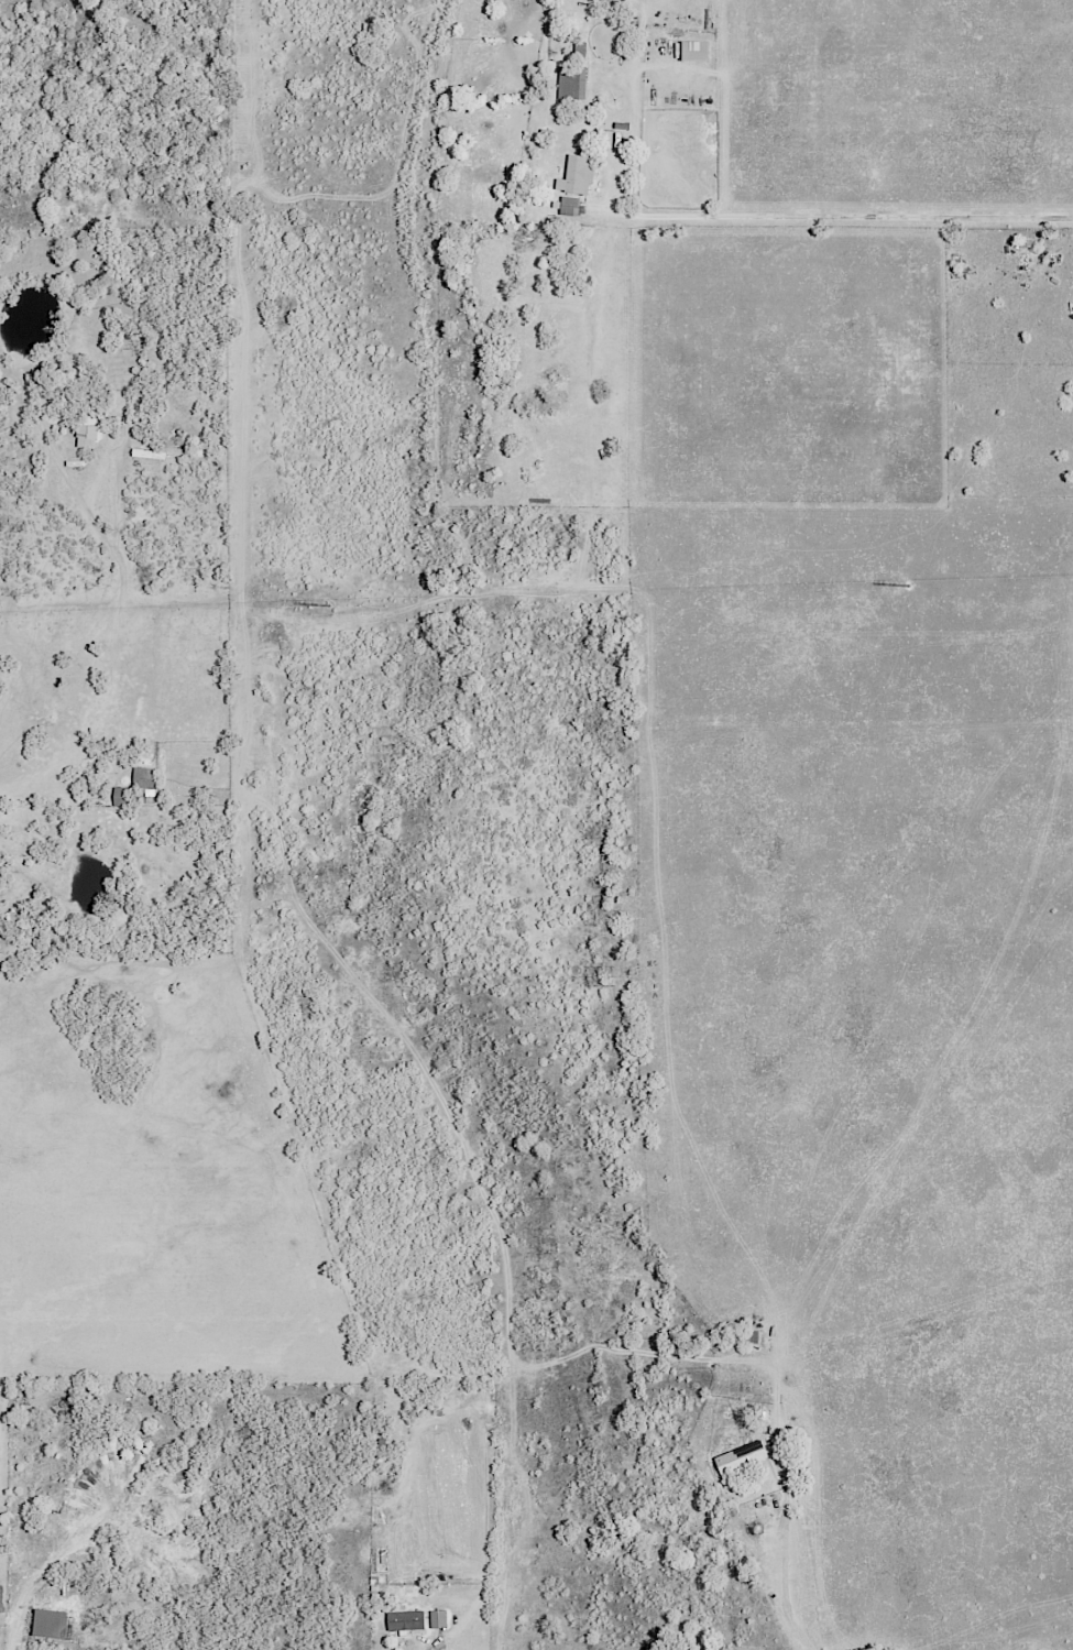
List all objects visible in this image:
road: (942, 43)
building: (692, 51)
building: (570, 81)
building: (574, 176)
building: (568, 206)
road: (842, 216)
building: (67, 397)
building: (85, 436)
power tower: (910, 588)
power tower: (330, 607)
building: (143, 782)
building: (120, 796)
road: (21, 799)
building: (738, 1457)
road: (785, 1560)
building: (437, 1619)
building: (404, 1620)
building: (47, 1624)
road: (11, 1630)

